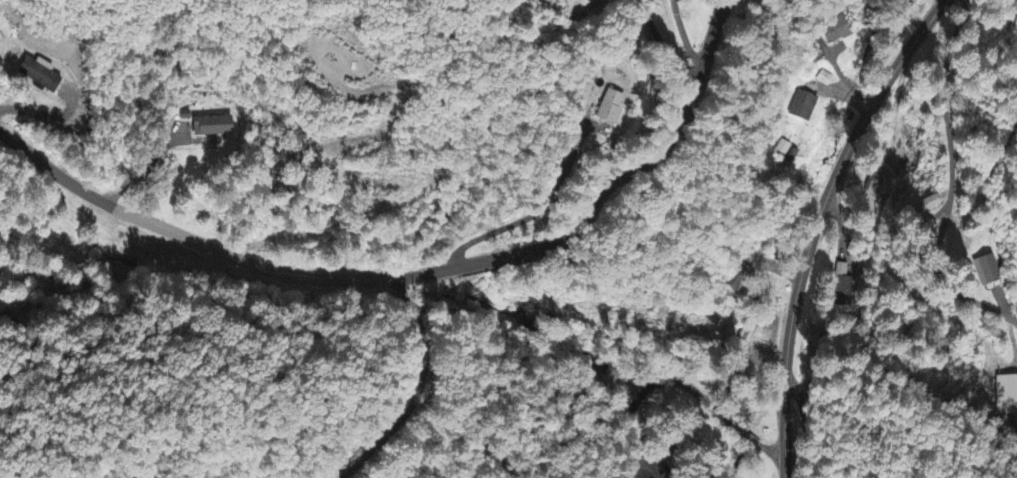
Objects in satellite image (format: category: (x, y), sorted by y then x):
building: (836, 31)
building: (39, 74)
building: (803, 107)
building: (610, 108)
building: (212, 127)
building: (784, 148)
road: (953, 183)
building: (929, 204)
road: (818, 222)
building: (987, 270)
road: (417, 275)
building: (843, 293)
road: (672, 380)
building: (1006, 395)
road: (808, 426)
road: (748, 437)
road: (771, 452)
road: (634, 459)
road: (653, 460)

